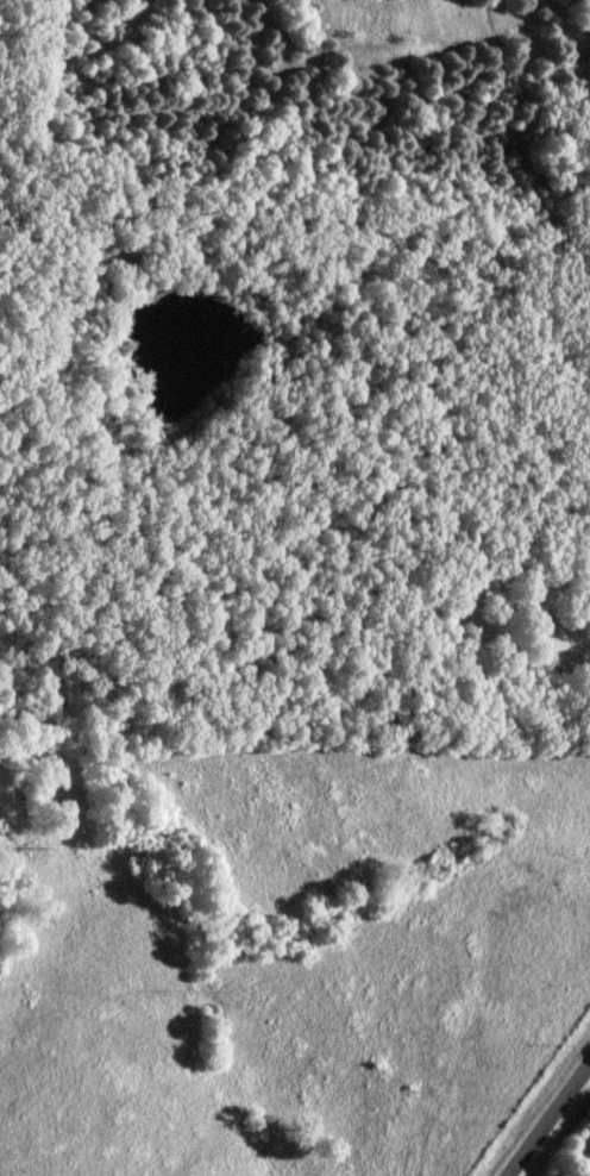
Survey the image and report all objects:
road: (76, 1076)
road: (547, 1119)

